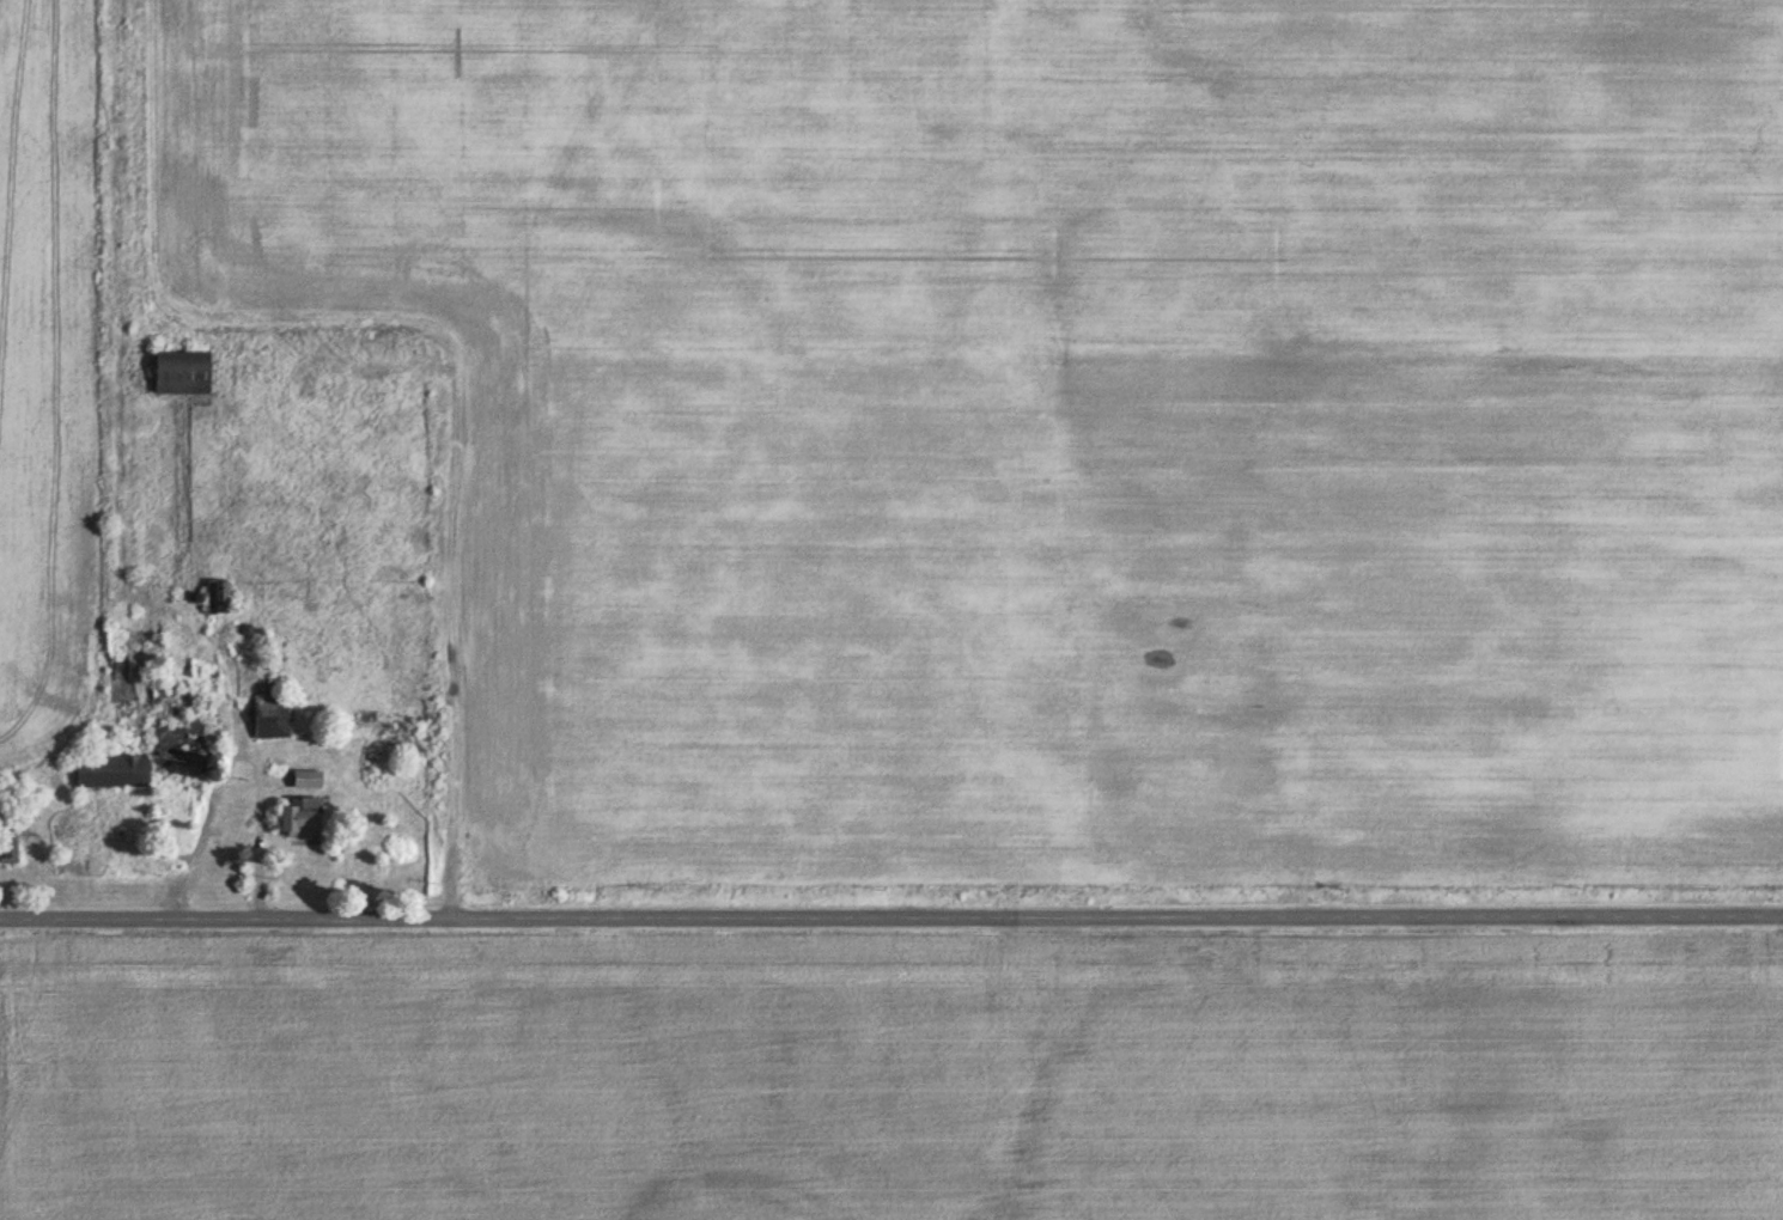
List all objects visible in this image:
building: (298, 803)
road: (1388, 921)
road: (497, 923)

